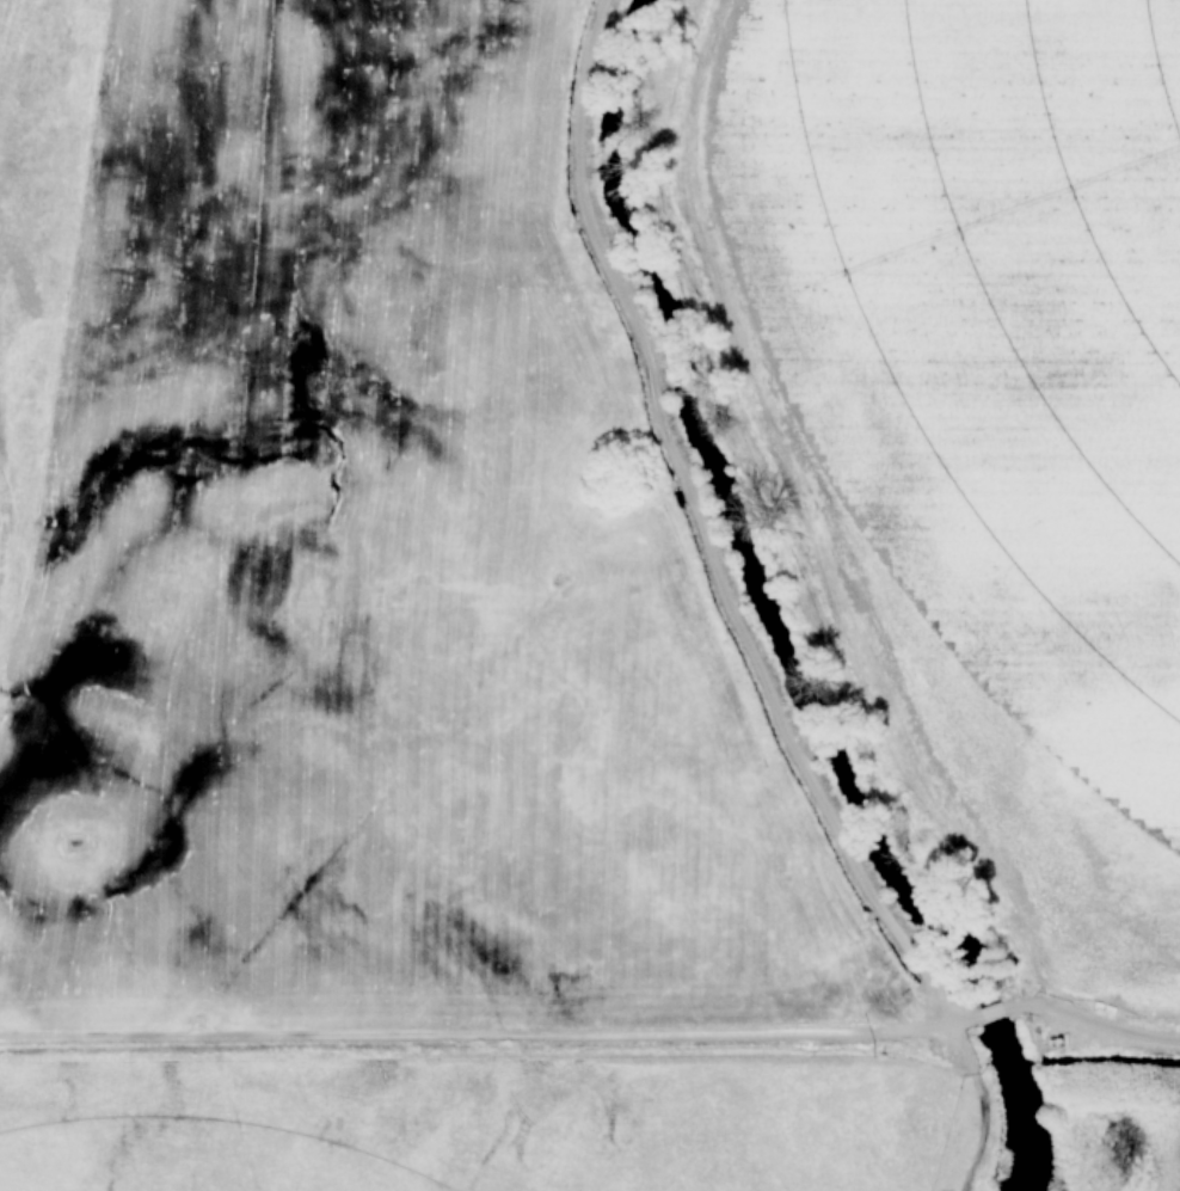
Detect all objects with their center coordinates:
river: (767, 612)
building: (983, 989)

